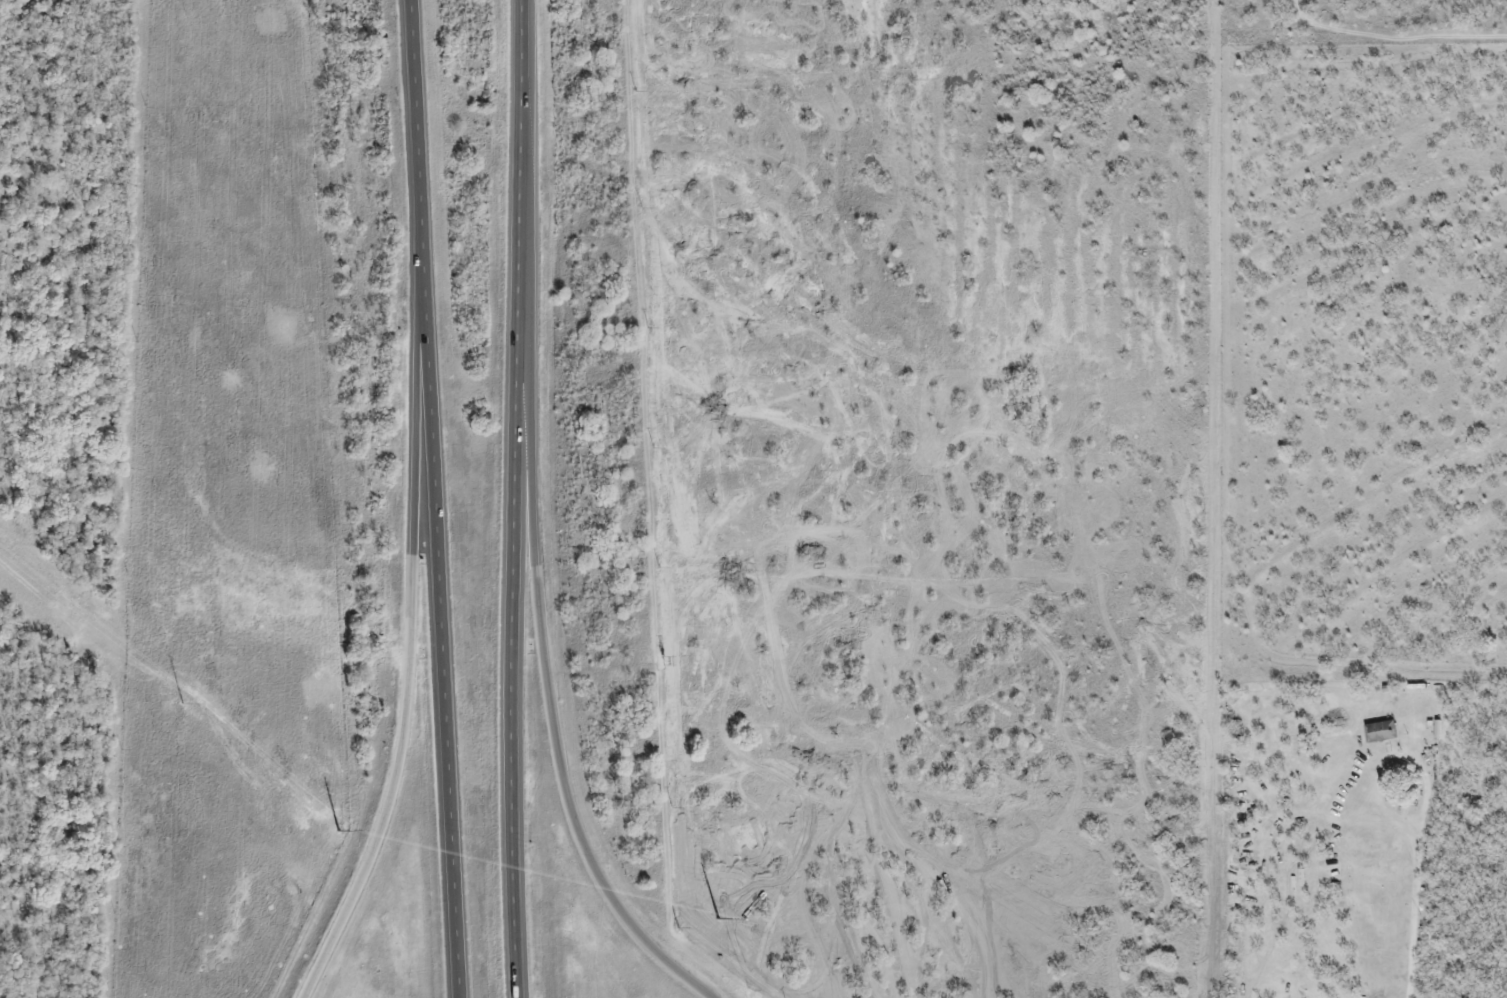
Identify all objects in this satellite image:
road: (422, 175)
road: (518, 498)
road: (546, 628)
road: (445, 674)
road: (409, 684)
power tower: (188, 706)
power tower: (344, 836)

